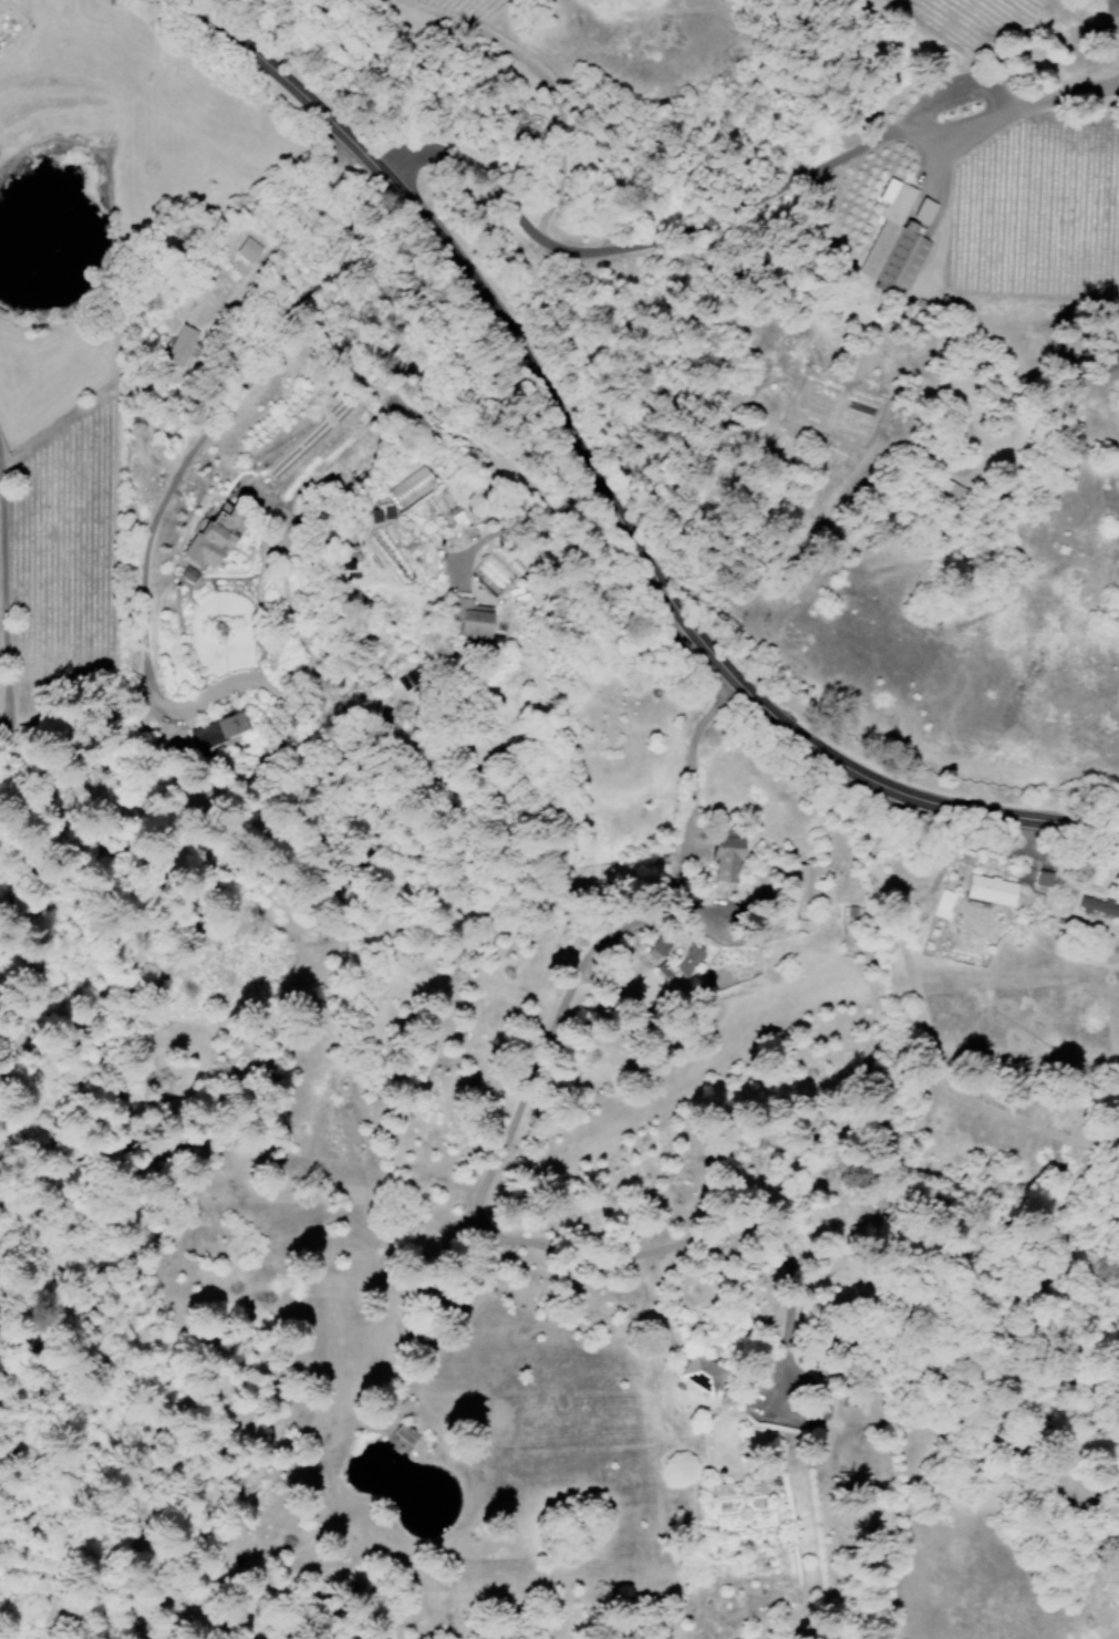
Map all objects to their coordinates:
building: (923, 210)
building: (894, 241)
road: (642, 246)
building: (247, 249)
building: (180, 346)
building: (410, 487)
building: (945, 489)
road: (610, 491)
building: (213, 537)
building: (491, 573)
building: (470, 618)
building: (217, 729)
building: (725, 859)
building: (1042, 879)
building: (802, 885)
building: (990, 890)
building: (943, 904)
building: (1098, 906)
building: (655, 948)
building: (685, 957)
building: (1116, 1112)
building: (700, 1373)
building: (403, 1433)
building: (397, 1442)

